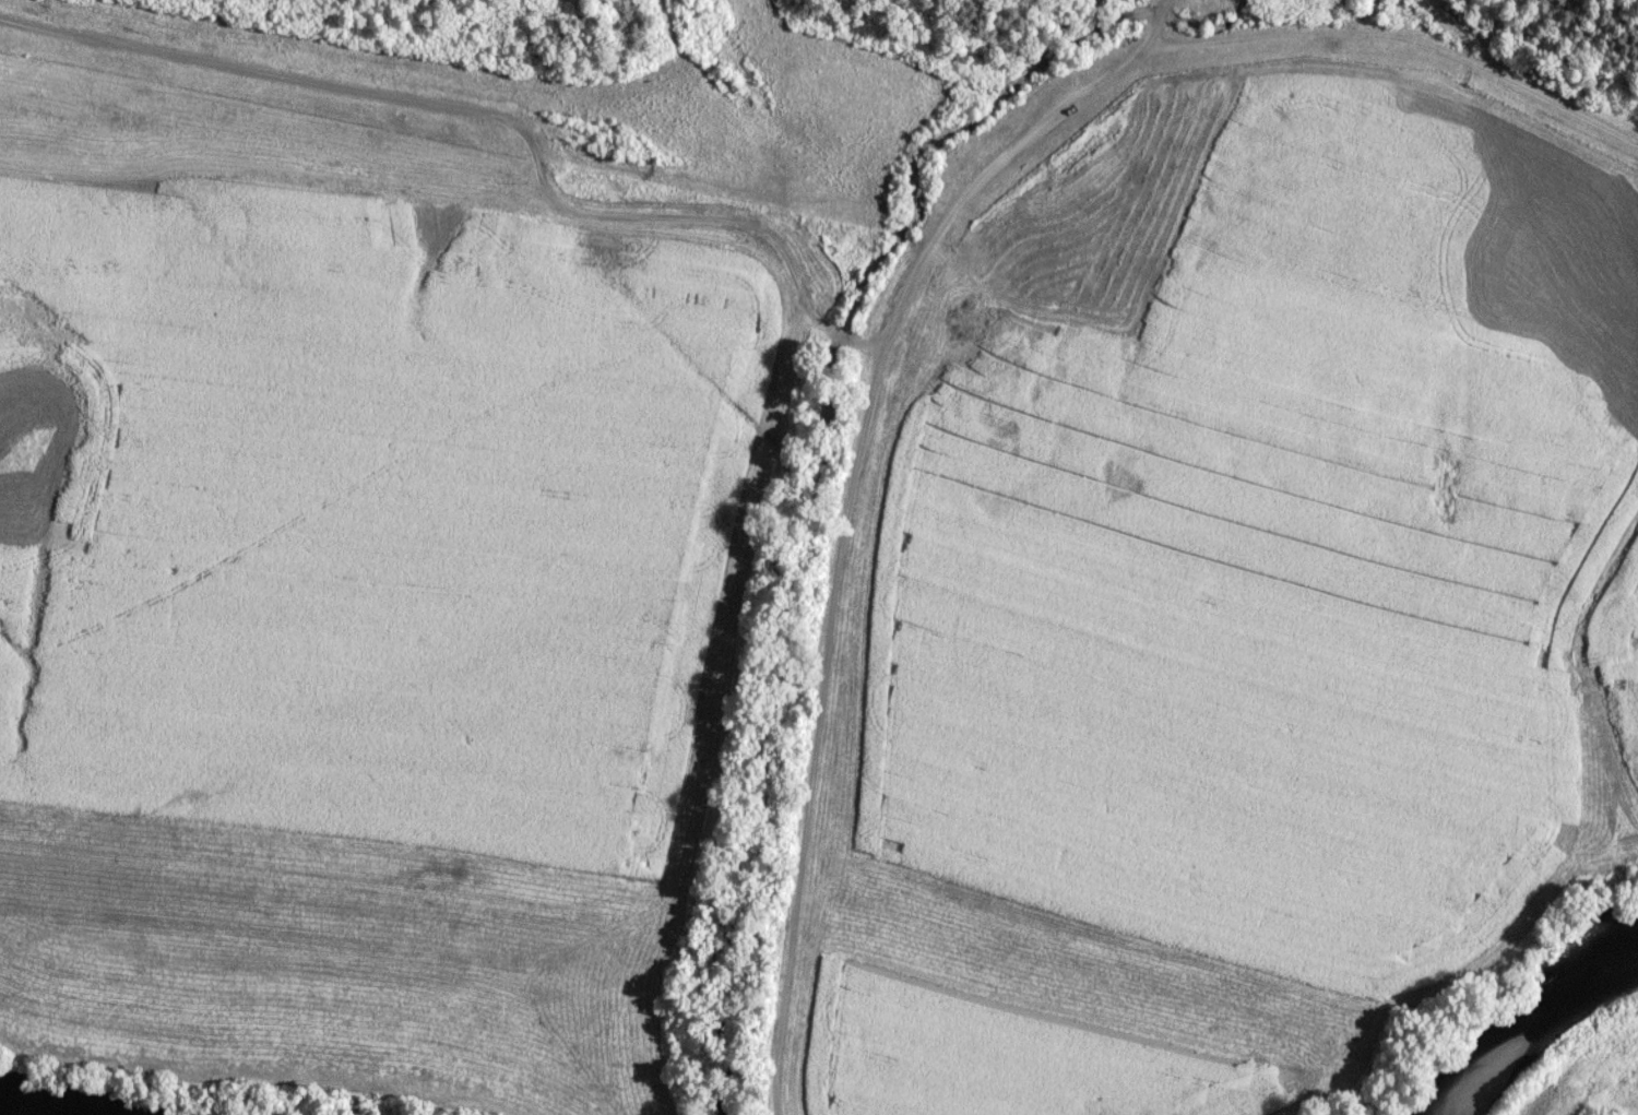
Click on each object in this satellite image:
road: (1160, 22)
road: (500, 116)
road: (911, 276)

